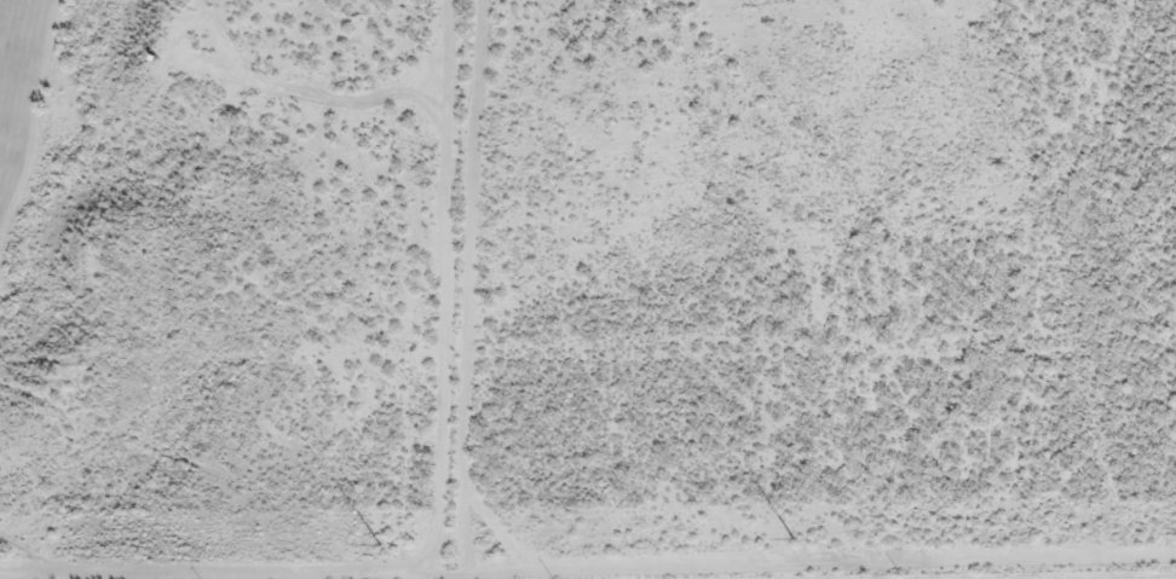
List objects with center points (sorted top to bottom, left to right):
power tower: (792, 540)
power tower: (379, 546)
power tower: (4, 551)

